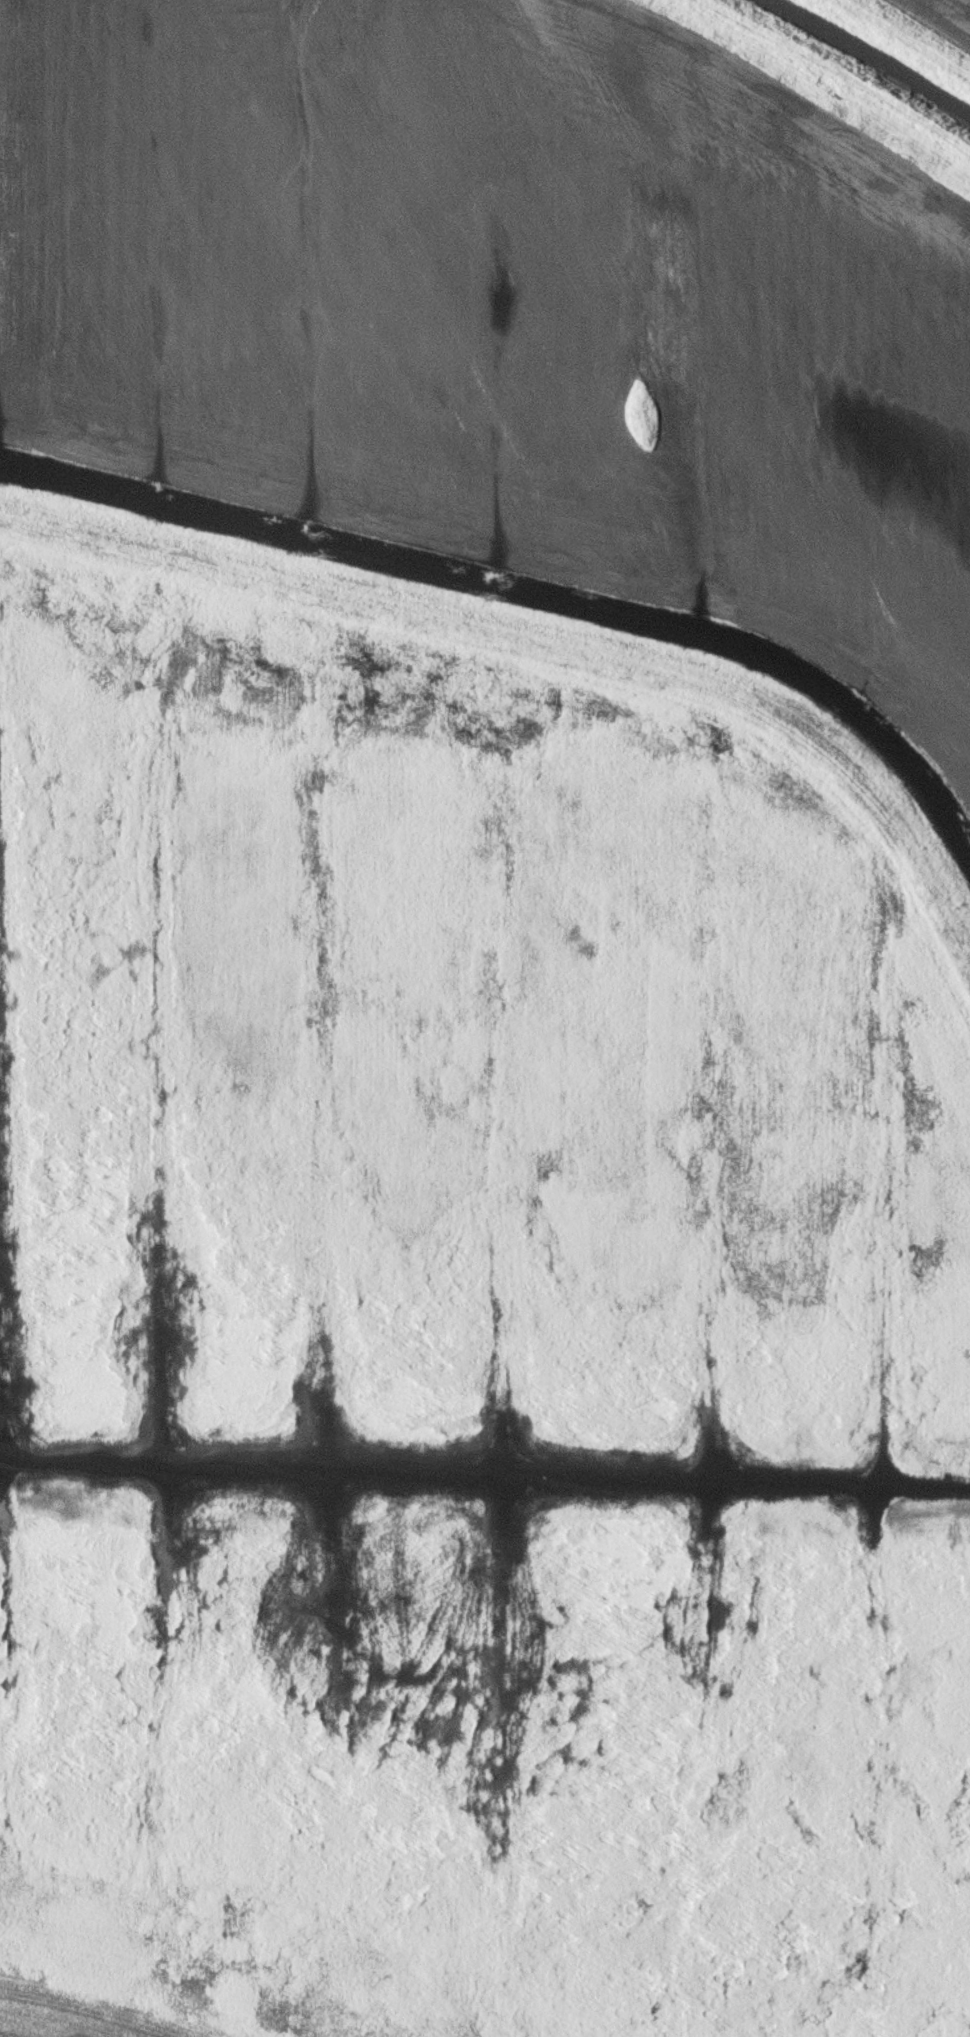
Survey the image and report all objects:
road: (827, 77)

